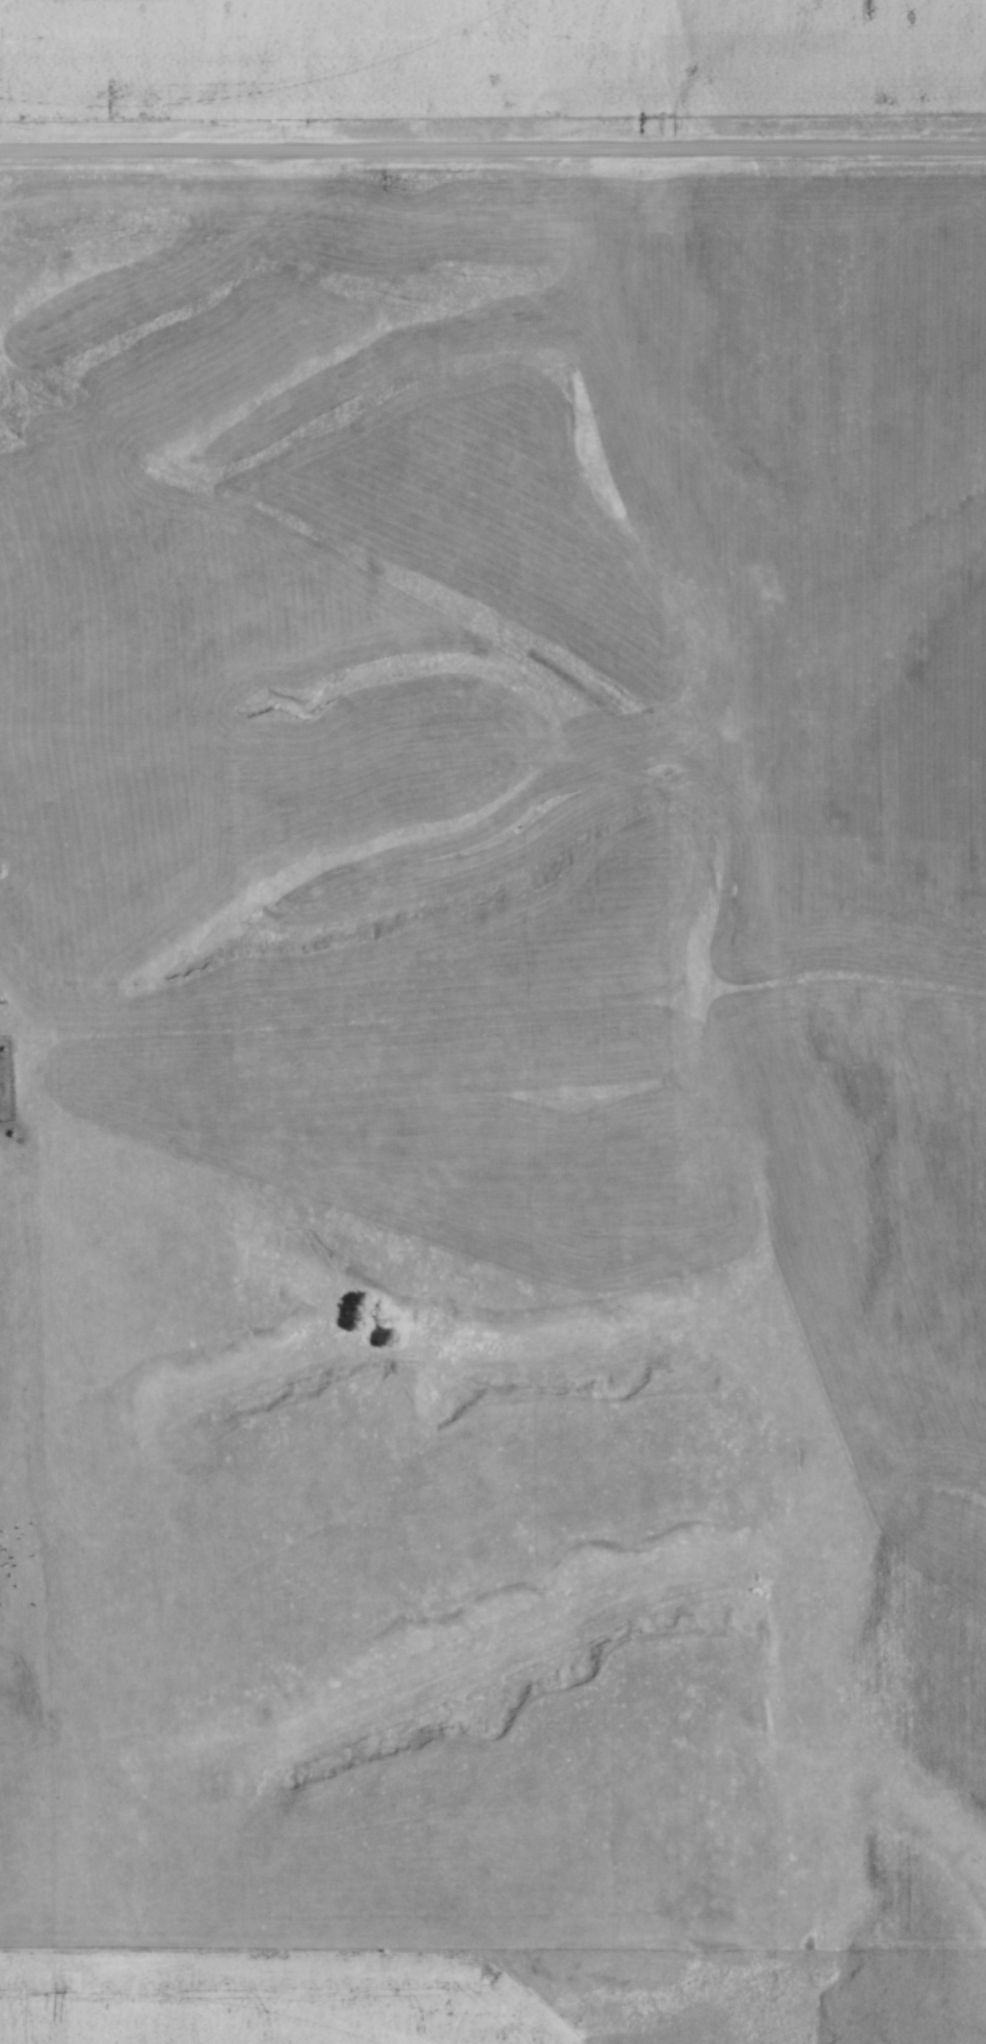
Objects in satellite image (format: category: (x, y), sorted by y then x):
road: (493, 154)
power tower: (406, 186)

